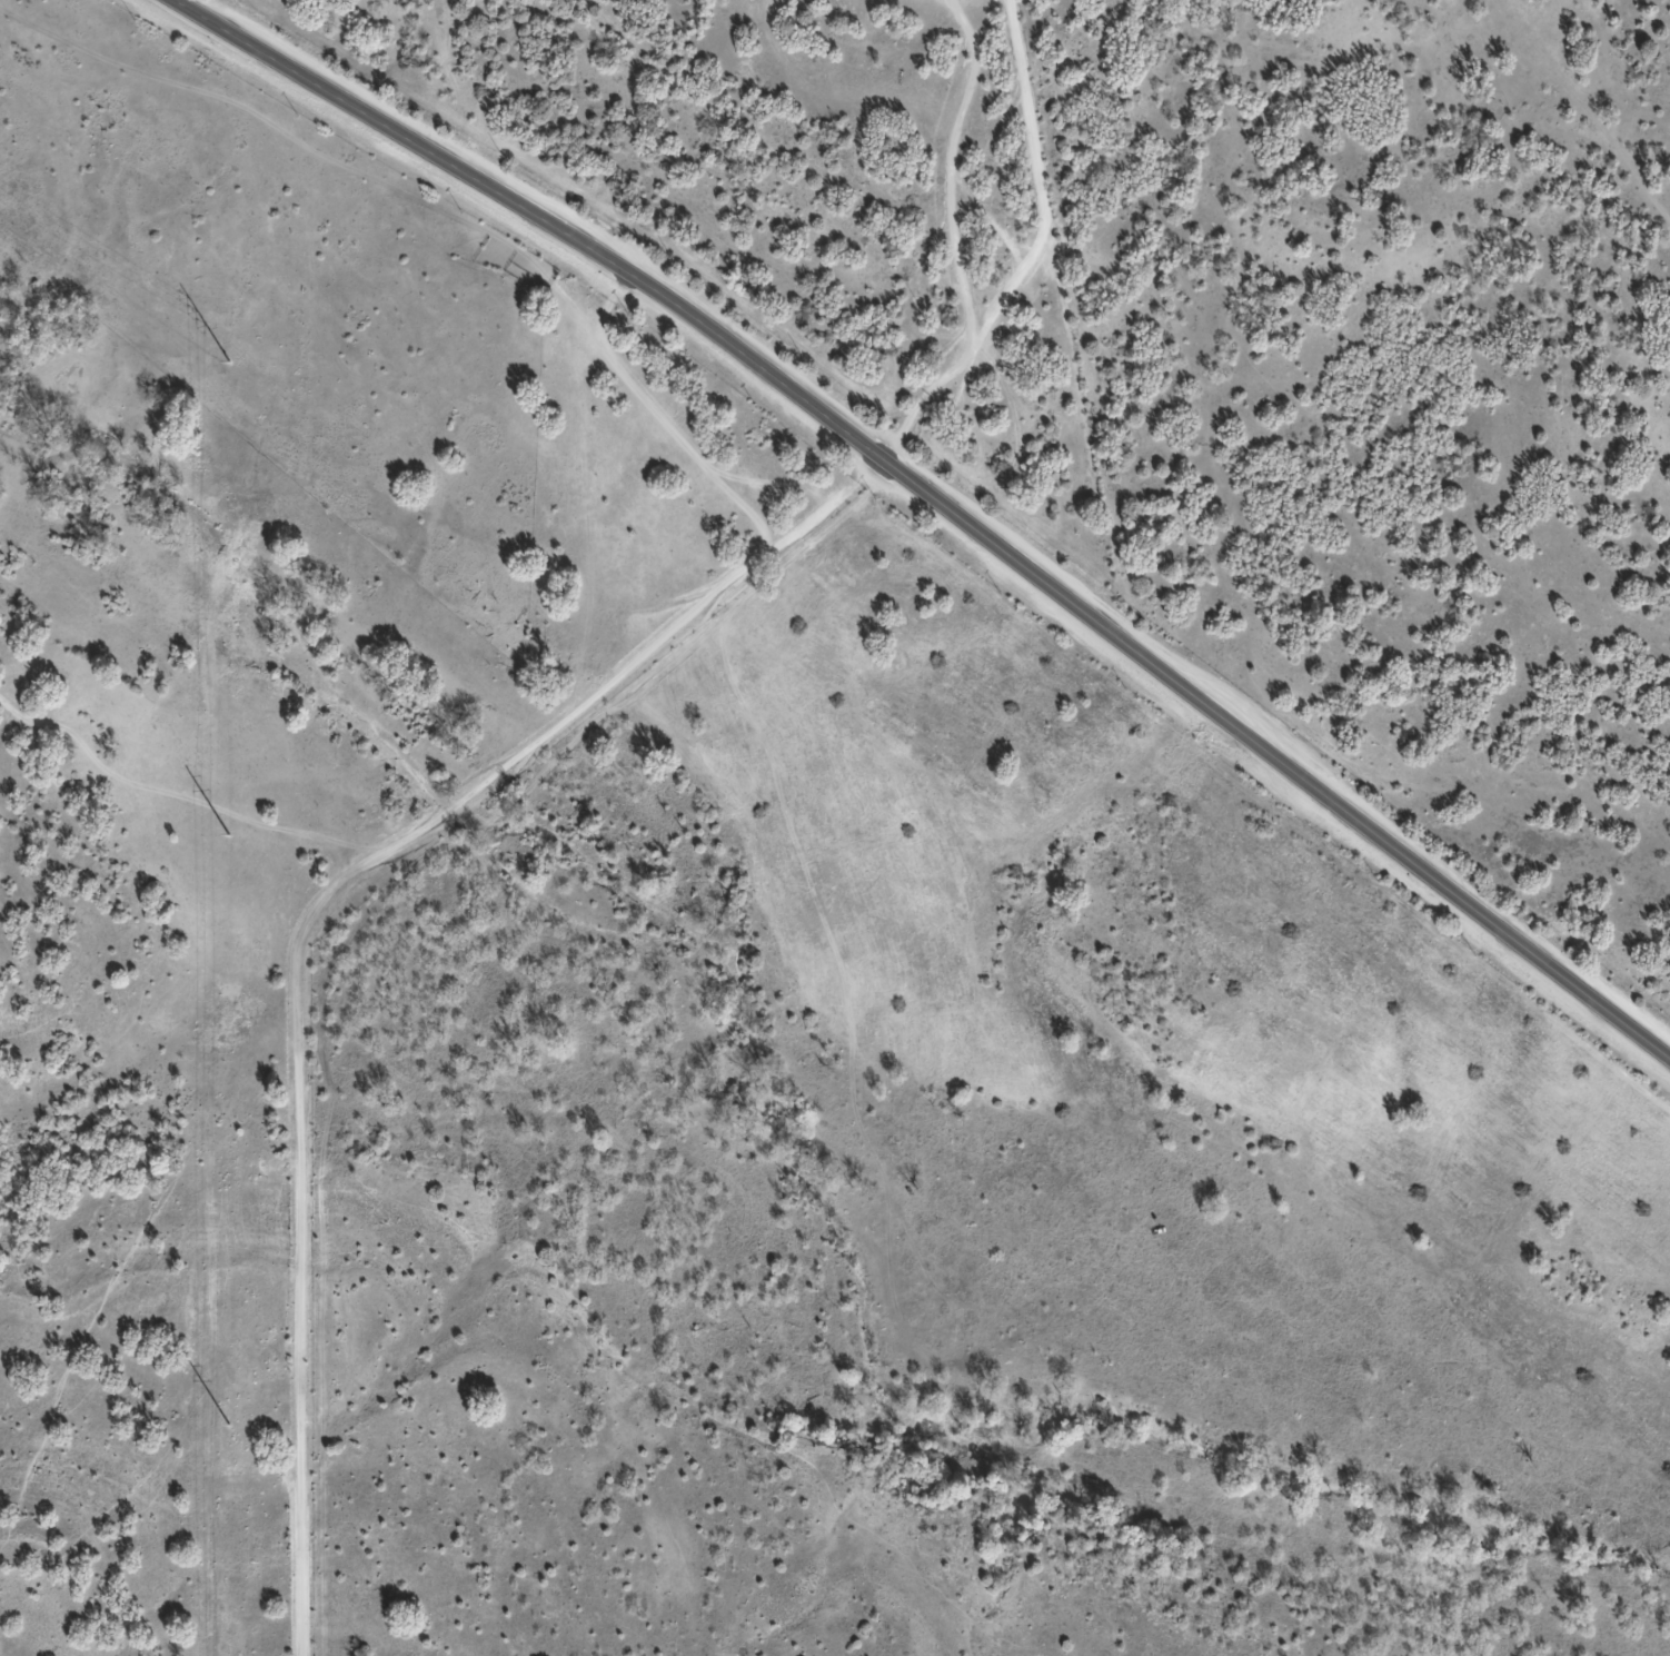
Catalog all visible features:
road: (1600, 110)
power tower: (229, 360)
road: (937, 502)
road: (538, 774)
power tower: (229, 836)
power tower: (228, 1424)

